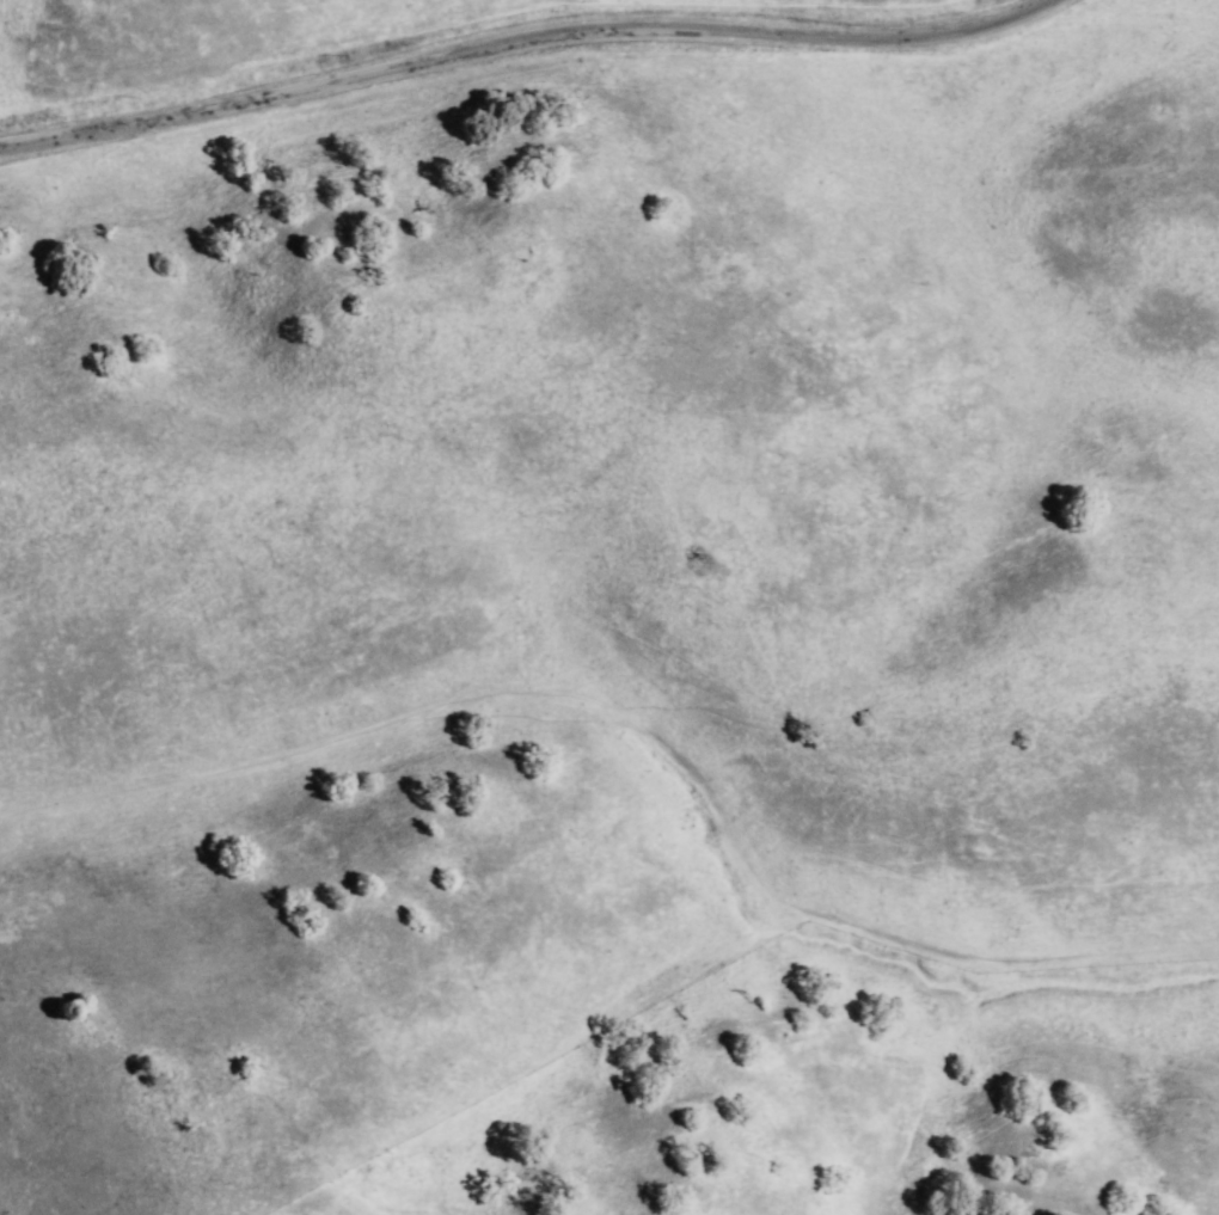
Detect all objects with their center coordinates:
road: (510, 38)

